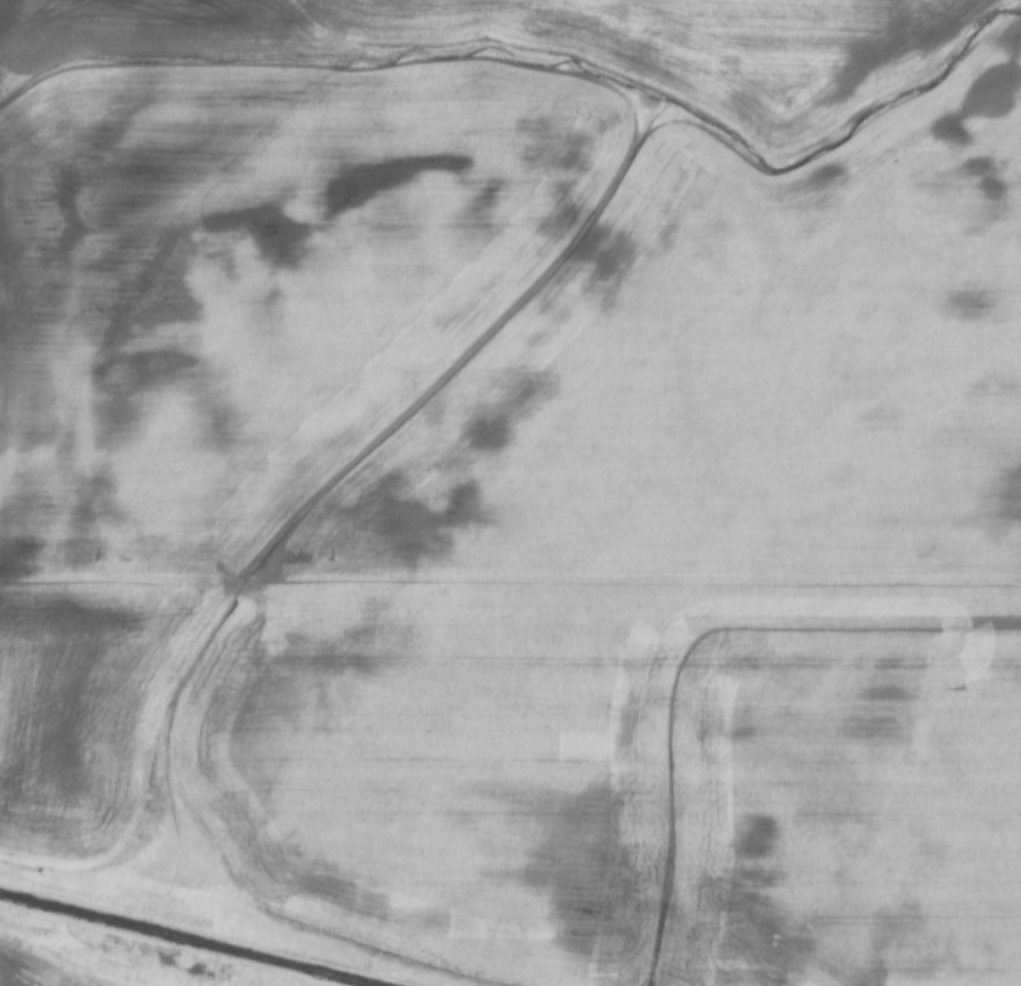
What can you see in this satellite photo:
railway: (187, 939)

